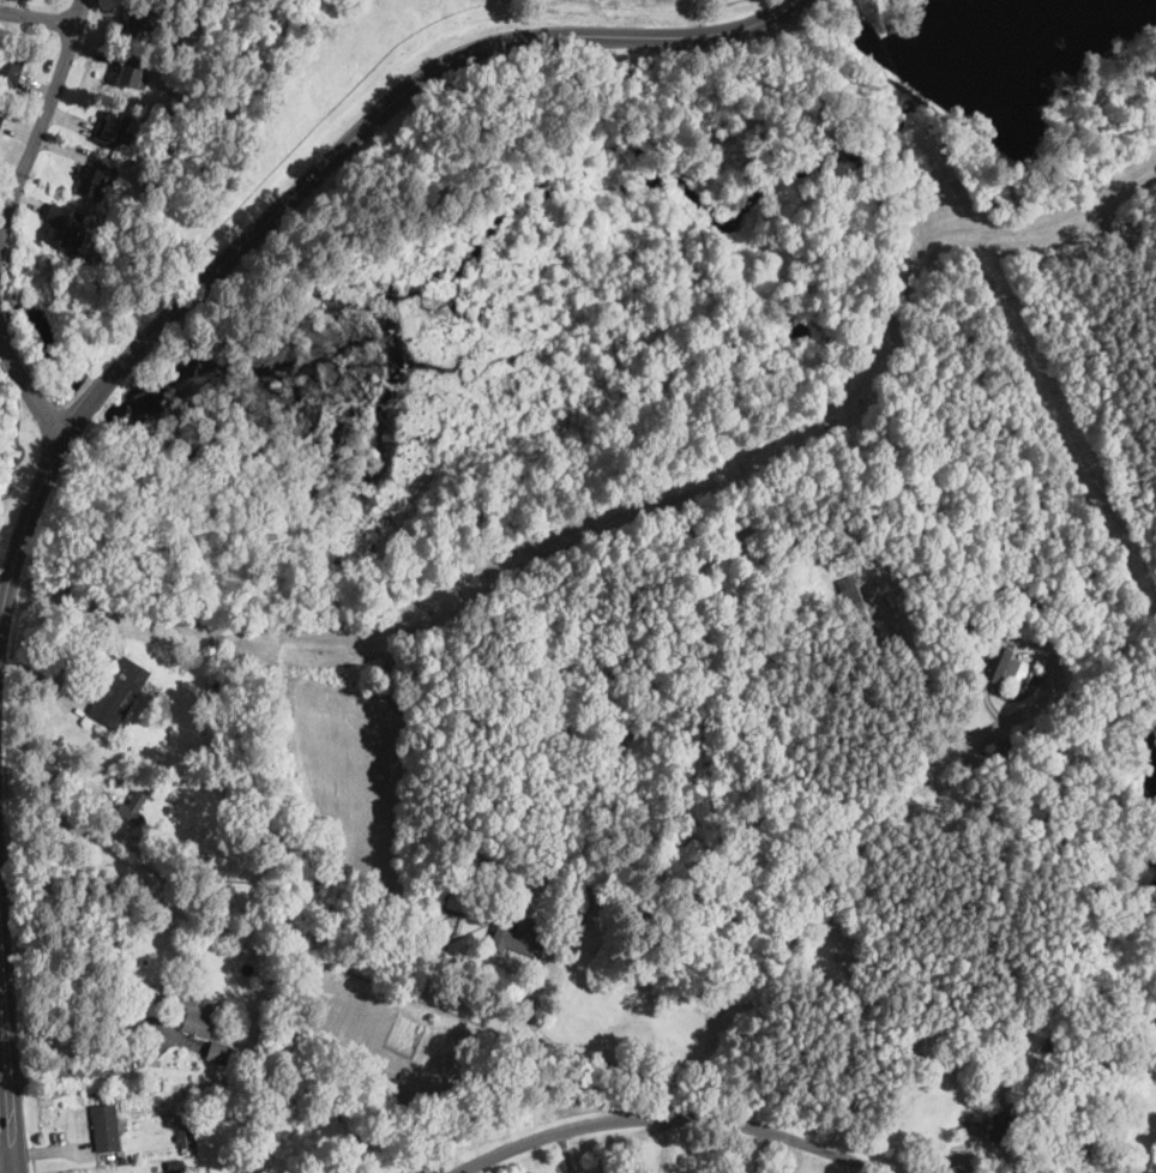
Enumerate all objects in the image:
road: (37, 14)
building: (144, 20)
building: (10, 68)
building: (131, 72)
building: (0, 118)
road: (41, 119)
building: (114, 128)
building: (92, 178)
road: (300, 184)
building: (61, 227)
road: (25, 386)
park: (1, 518)
building: (899, 595)
building: (853, 602)
building: (995, 663)
building: (1016, 668)
building: (118, 692)
road: (55, 772)
building: (132, 807)
building: (1085, 808)
building: (170, 810)
building: (1112, 830)
building: (1120, 856)
building: (469, 861)
building: (189, 868)
building: (457, 896)
building: (573, 908)
road: (986, 933)
building: (520, 936)
building: (439, 937)
road: (6, 992)
building: (195, 1013)
building: (1058, 1049)
building: (218, 1052)
road: (584, 1055)
building: (267, 1069)
road: (97, 1071)
road: (676, 1115)
building: (182, 1120)
road: (13, 1124)
building: (1010, 1126)
building: (106, 1127)
building: (186, 1139)
building: (1068, 1148)
building: (120, 1159)
building: (134, 1159)
building: (174, 1166)
road: (7, 1169)
building: (155, 1169)
building: (251, 1172)

